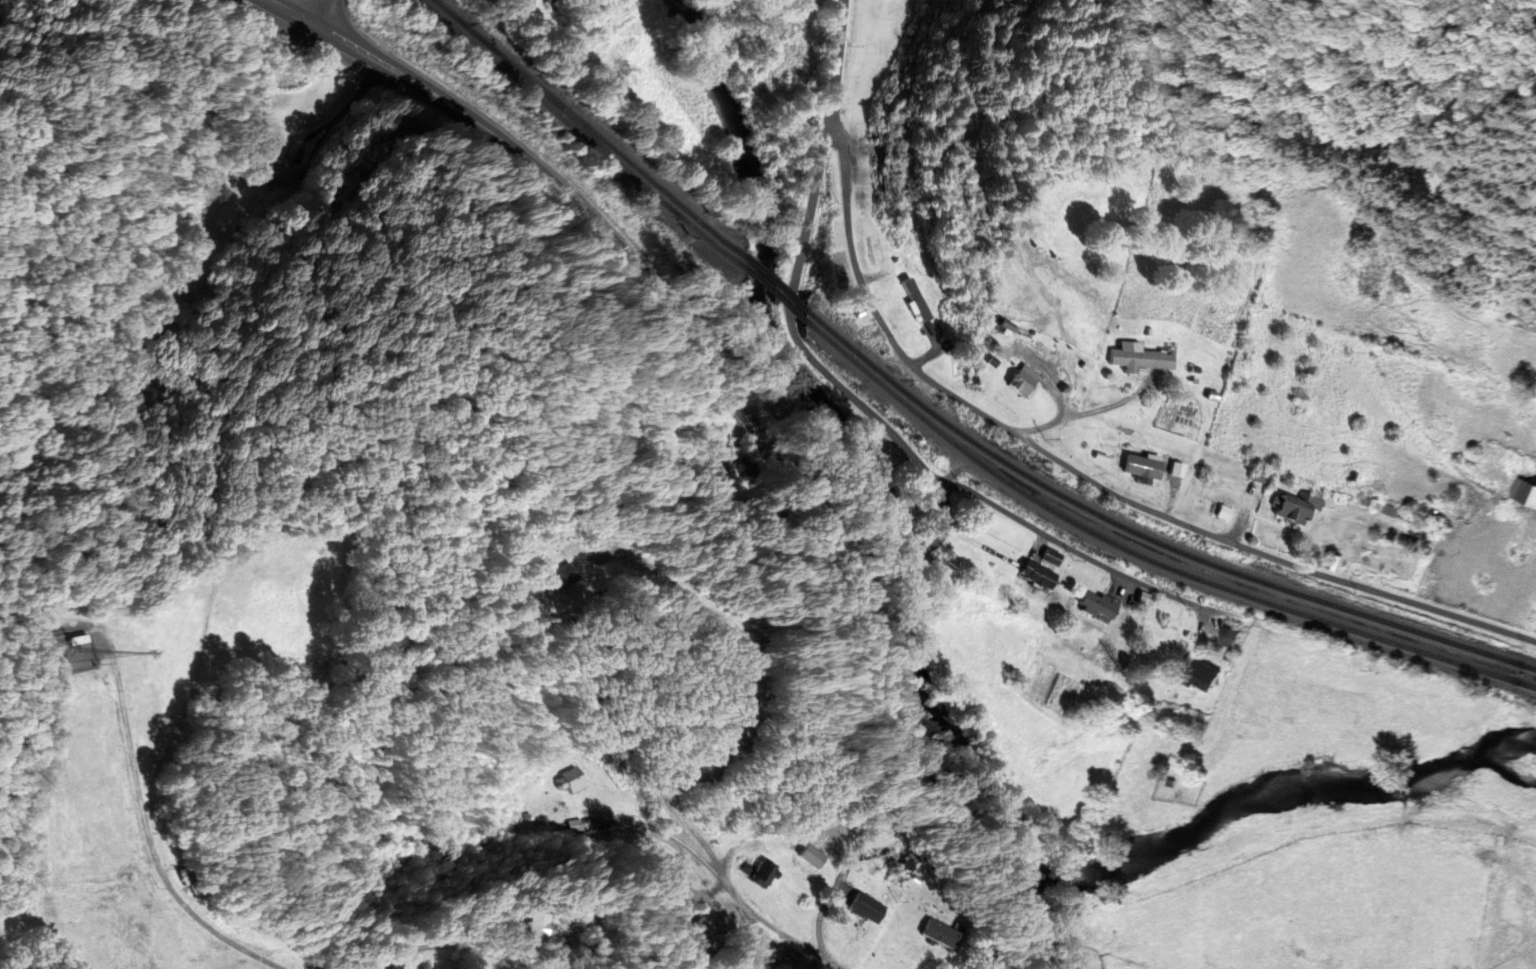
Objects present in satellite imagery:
road: (322, 11)
road: (494, 16)
road: (346, 108)
railway: (587, 125)
railway: (578, 132)
building: (283, 172)
railway: (772, 282)
railway: (770, 293)
building: (927, 321)
road: (802, 348)
building: (1141, 359)
building: (1024, 379)
road: (1084, 413)
road: (743, 414)
building: (713, 459)
building: (1145, 466)
road: (1076, 472)
building: (1527, 493)
building: (1300, 506)
building: (1225, 512)
railway: (1147, 536)
road: (1070, 547)
railway: (1143, 556)
building: (1052, 557)
building: (1038, 574)
building: (568, 575)
building: (1097, 605)
building: (1233, 637)
building: (1206, 675)
road: (716, 772)
building: (569, 781)
building: (812, 856)
building: (759, 873)
road: (57, 881)
road: (835, 895)
building: (867, 907)
building: (542, 927)
building: (705, 929)
building: (942, 933)
road: (578, 934)
road: (459, 947)
building: (399, 965)

